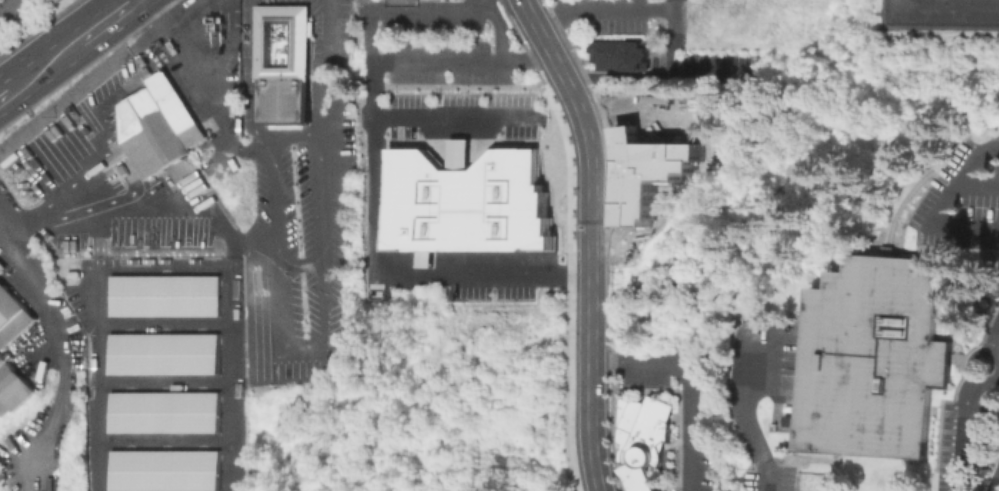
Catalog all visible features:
building: (49, 1)
road: (635, 5)
road: (565, 6)
road: (11, 10)
road: (600, 11)
power substation: (942, 12)
road: (107, 18)
building: (212, 22)
road: (200, 32)
road: (494, 32)
road: (673, 36)
road: (225, 37)
building: (620, 57)
road: (383, 63)
building: (281, 64)
road: (41, 65)
road: (202, 76)
road: (659, 78)
road: (5, 86)
street lamp: (394, 90)
street lamp: (466, 90)
street lamp: (622, 107)
building: (174, 108)
street lamp: (560, 110)
road: (93, 112)
road: (211, 112)
road: (451, 115)
street lamp: (548, 116)
road: (645, 116)
parking lot: (673, 117)
building: (148, 133)
building: (647, 173)
road: (960, 178)
street lamp: (607, 198)
building: (466, 200)
road: (60, 201)
road: (146, 203)
road: (943, 222)
road: (589, 238)
road: (299, 263)
building: (2, 266)
road: (380, 270)
building: (163, 295)
street lamp: (607, 303)
road: (226, 314)
building: (12, 316)
road: (162, 325)
road: (994, 339)
road: (60, 348)
road: (297, 351)
building: (162, 353)
building: (2, 359)
road: (995, 360)
building: (874, 361)
road: (968, 374)
road: (687, 376)
road: (98, 378)
road: (163, 382)
building: (13, 388)
building: (163, 411)
road: (961, 424)
road: (754, 437)
road: (164, 441)
building: (645, 441)
building: (162, 470)
building: (787, 485)
road: (996, 486)

